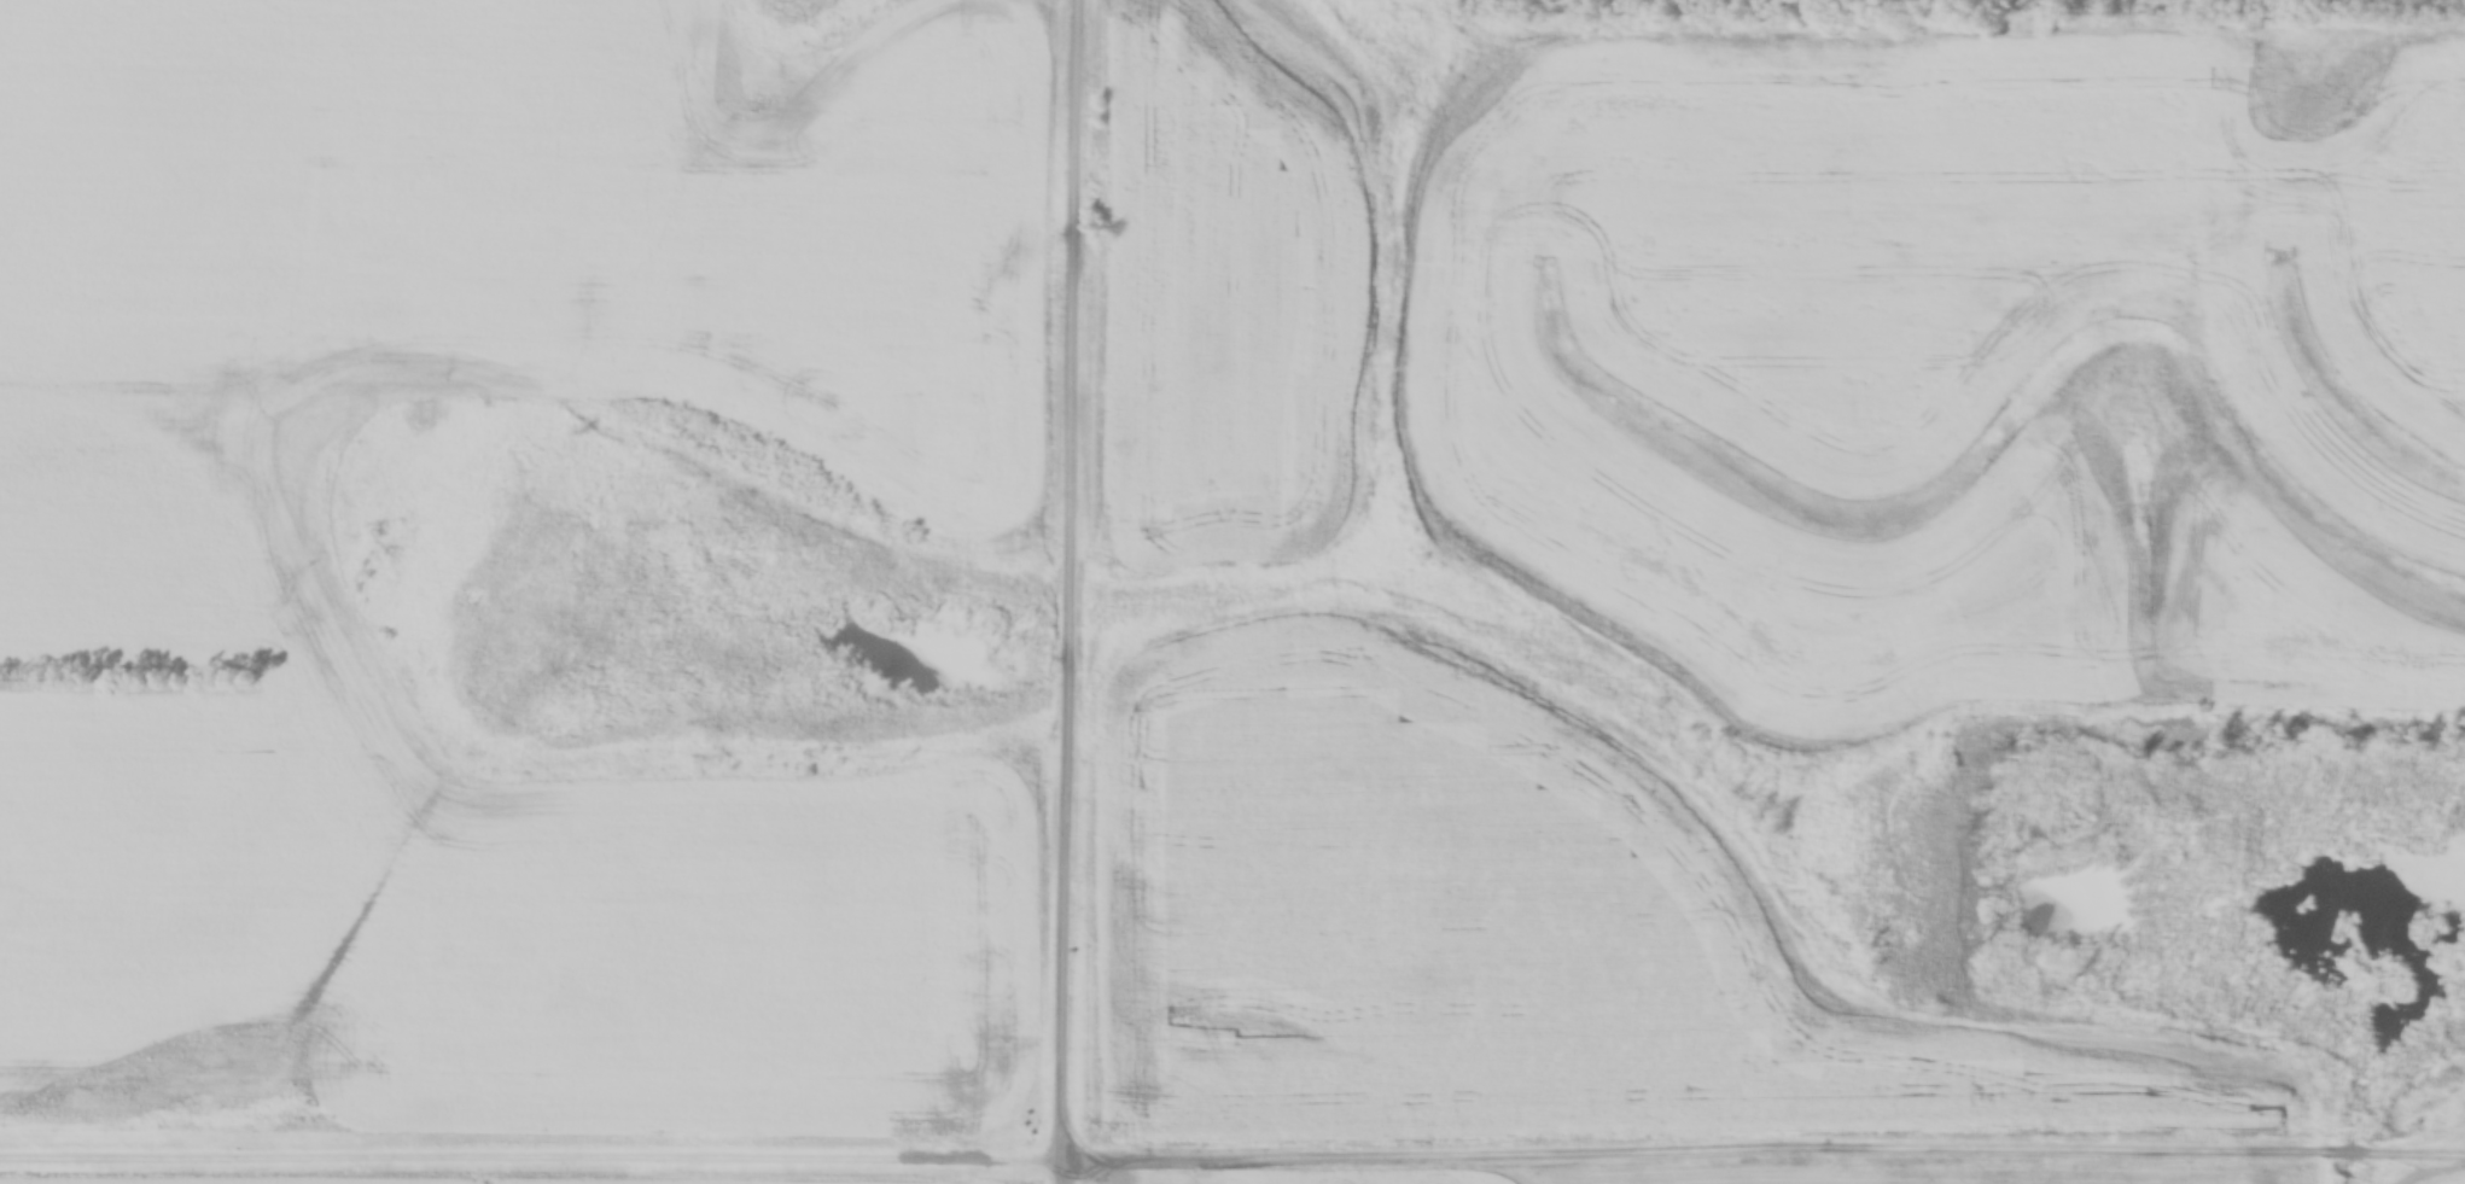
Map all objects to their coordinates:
road: (1068, 591)
road: (1231, 1160)

